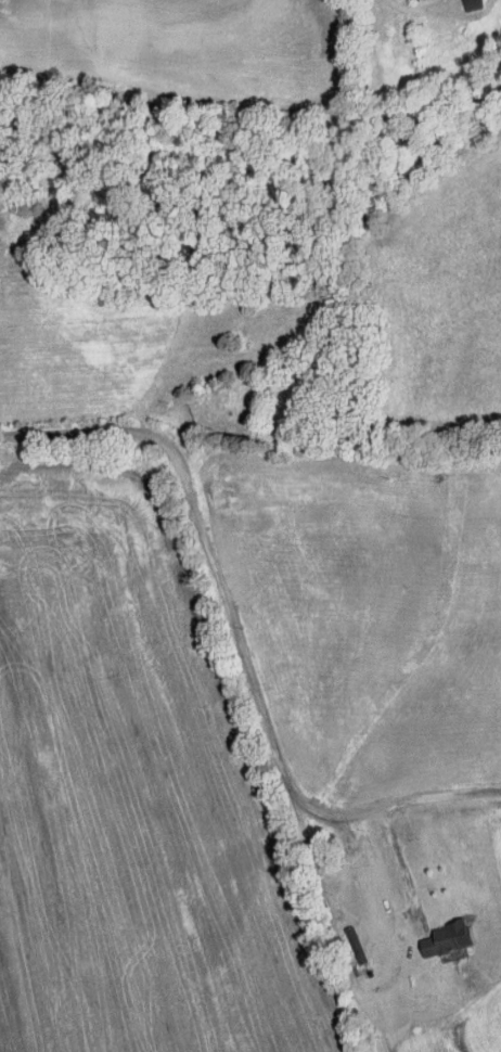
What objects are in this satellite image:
building: (474, 3)
road: (239, 643)
road: (403, 857)
road: (323, 876)
building: (448, 937)

